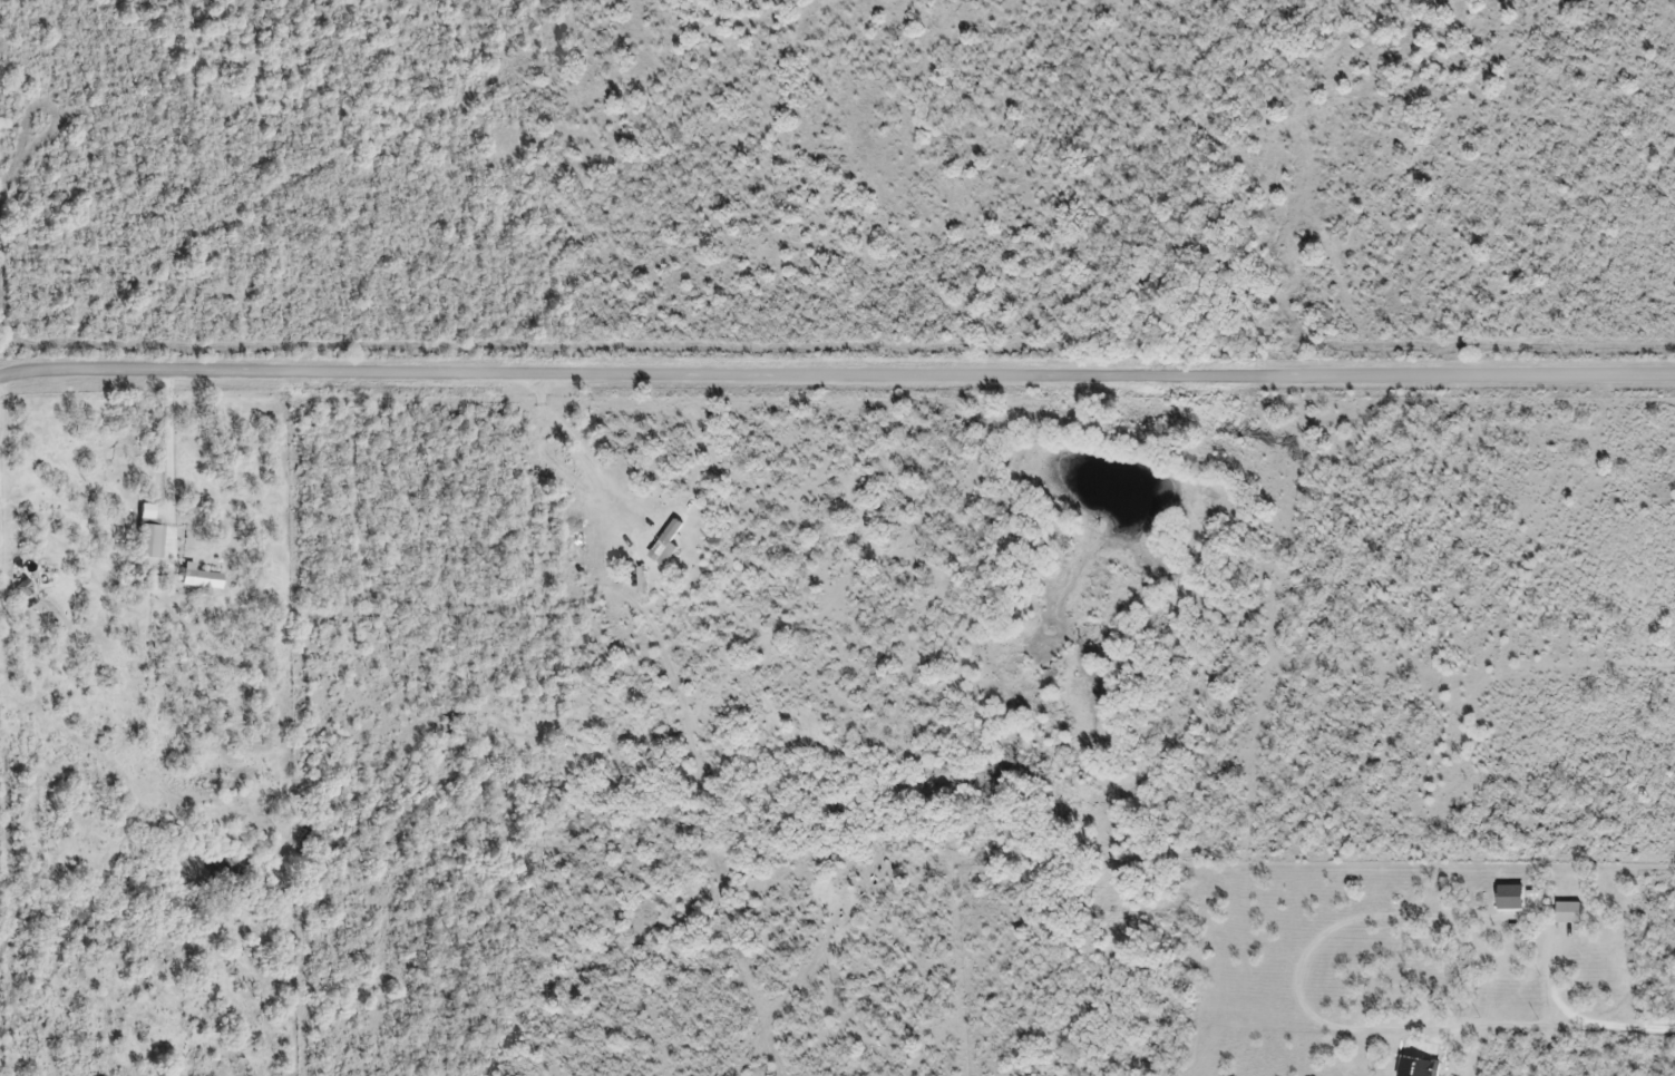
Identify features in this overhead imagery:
road: (837, 375)
road: (588, 456)
road: (168, 460)
building: (147, 535)
building: (197, 579)
building: (21, 590)
road: (3, 736)
building: (1509, 900)
building: (1566, 916)
road: (1578, 1021)
building: (1429, 1068)

